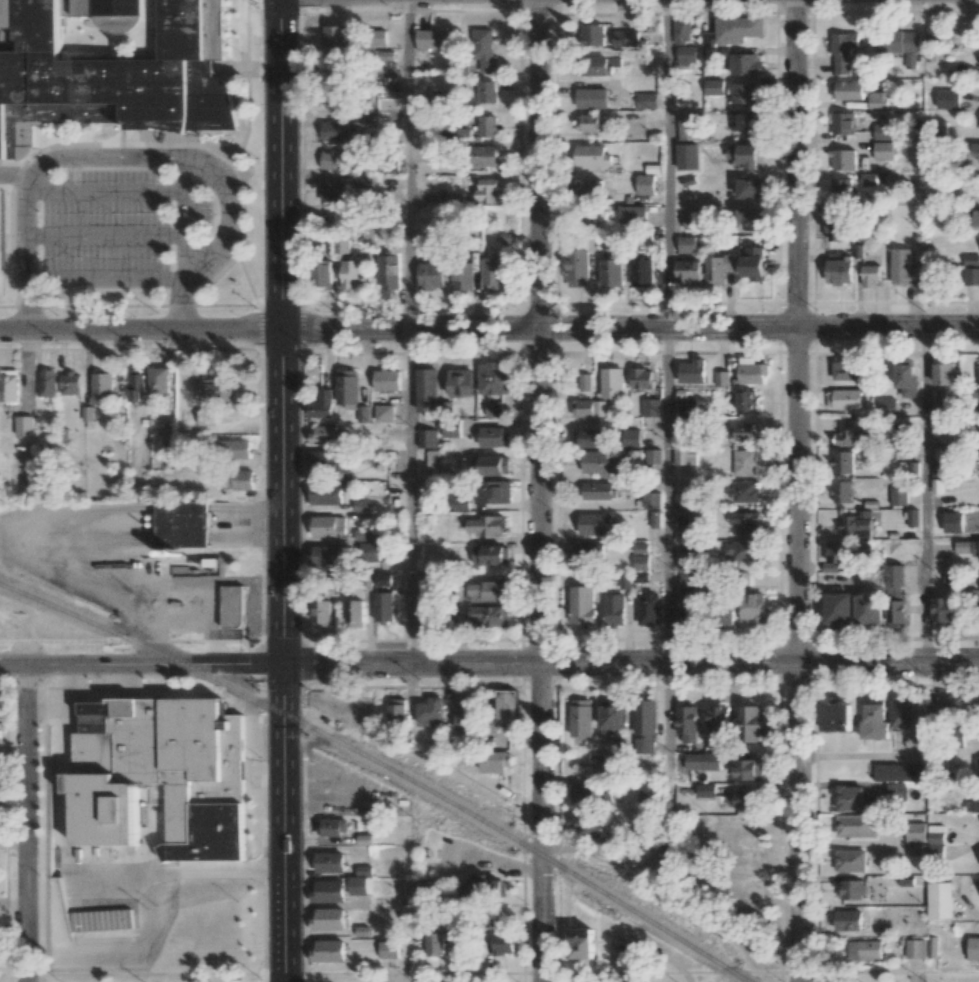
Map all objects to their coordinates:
building: (682, 30)
building: (734, 30)
building: (336, 35)
building: (592, 35)
building: (934, 36)
building: (378, 37)
building: (628, 39)
building: (434, 40)
building: (898, 45)
building: (484, 50)
building: (843, 51)
building: (387, 55)
building: (687, 57)
building: (745, 63)
building: (333, 64)
building: (600, 65)
building: (111, 74)
building: (713, 86)
building: (848, 89)
building: (488, 91)
building: (744, 93)
building: (440, 96)
building: (592, 98)
building: (877, 99)
building: (947, 99)
building: (646, 100)
building: (366, 116)
building: (591, 123)
building: (749, 123)
building: (842, 123)
building: (488, 126)
building: (688, 127)
building: (978, 127)
building: (936, 129)
building: (335, 130)
building: (882, 131)
building: (883, 150)
building: (975, 151)
building: (486, 155)
building: (593, 155)
building: (747, 155)
building: (688, 156)
road: (102, 159)
building: (842, 159)
building: (335, 160)
road: (279, 163)
road: (666, 163)
road: (796, 163)
road: (409, 164)
road: (538, 164)
building: (388, 166)
road: (16, 179)
building: (867, 179)
building: (362, 180)
building: (645, 184)
building: (592, 187)
building: (749, 188)
building: (841, 189)
building: (488, 190)
road: (106, 191)
building: (334, 191)
building: (455, 198)
building: (633, 214)
road: (229, 217)
building: (977, 218)
building: (750, 219)
building: (690, 221)
building: (835, 228)
parking lot: (108, 234)
road: (104, 235)
building: (508, 237)
road: (182, 243)
building: (687, 244)
building: (343, 245)
road: (26, 254)
building: (972, 259)
building: (753, 264)
building: (578, 267)
building: (719, 268)
building: (904, 268)
building: (389, 270)
building: (839, 270)
building: (688, 271)
building: (493, 272)
building: (612, 272)
building: (642, 272)
building: (324, 273)
building: (354, 274)
building: (870, 274)
building: (432, 275)
building: (464, 276)
building: (971, 276)
road: (104, 279)
road: (629, 327)
road: (140, 328)
building: (844, 370)
building: (692, 371)
building: (751, 371)
building: (943, 373)
building: (978, 374)
building: (494, 377)
building: (906, 377)
building: (642, 378)
building: (720, 378)
building: (159, 379)
building: (387, 379)
building: (47, 382)
building: (461, 382)
building: (584, 382)
building: (70, 383)
building: (612, 383)
building: (136, 384)
building: (9, 385)
building: (348, 386)
building: (102, 387)
building: (427, 390)
building: (844, 399)
building: (746, 400)
building: (323, 405)
building: (886, 406)
building: (588, 407)
building: (651, 407)
building: (688, 407)
building: (493, 408)
building: (88, 413)
building: (385, 413)
building: (207, 416)
building: (24, 425)
building: (452, 428)
building: (744, 431)
building: (850, 432)
building: (325, 434)
building: (493, 436)
building: (630, 437)
building: (427, 438)
building: (589, 438)
building: (232, 448)
building: (653, 456)
building: (684, 456)
building: (435, 460)
building: (331, 461)
building: (597, 461)
building: (842, 461)
building: (745, 462)
building: (491, 465)
building: (937, 468)
building: (237, 479)
building: (598, 490)
building: (493, 491)
building: (743, 491)
building: (842, 491)
building: (326, 493)
road: (925, 494)
road: (411, 495)
road: (668, 495)
building: (899, 496)
building: (652, 500)
building: (681, 501)
building: (461, 503)
building: (361, 504)
building: (912, 517)
building: (655, 519)
building: (746, 521)
building: (596, 523)
building: (183, 524)
building: (858, 524)
building: (485, 525)
building: (328, 526)
building: (683, 532)
building: (366, 534)
building: (967, 547)
building: (370, 551)
building: (742, 551)
building: (589, 553)
building: (324, 554)
building: (491, 554)
building: (836, 555)
building: (688, 559)
building: (641, 563)
building: (640, 576)
building: (950, 579)
building: (690, 580)
building: (624, 581)
building: (490, 591)
building: (897, 596)
building: (582, 604)
building: (232, 605)
building: (384, 606)
building: (649, 608)
building: (753, 608)
building: (840, 608)
building: (614, 609)
building: (870, 609)
building: (943, 610)
building: (322, 613)
building: (355, 613)
building: (429, 613)
building: (683, 614)
building: (490, 615)
building: (726, 616)
road: (282, 654)
road: (796, 654)
road: (539, 655)
road: (489, 662)
traffic signals: (283, 664)
road: (46, 700)
building: (507, 706)
building: (935, 710)
building: (431, 711)
building: (398, 712)
building: (901, 713)
building: (465, 715)
building: (836, 716)
building: (613, 717)
building: (582, 718)
building: (874, 718)
building: (719, 719)
building: (687, 723)
building: (752, 724)
building: (645, 726)
building: (497, 761)
building: (702, 761)
building: (977, 764)
railway: (383, 766)
building: (748, 768)
building: (898, 772)
building: (159, 774)
building: (706, 790)
building: (896, 791)
building: (586, 792)
building: (647, 792)
building: (850, 798)
building: (745, 799)
building: (971, 806)
road: (666, 817)
road: (26, 823)
building: (586, 823)
building: (855, 825)
building: (332, 826)
building: (915, 832)
building: (935, 833)
building: (364, 839)
building: (851, 860)
building: (330, 861)
road: (73, 865)
building: (364, 870)
building: (358, 885)
building: (483, 885)
building: (854, 889)
building: (328, 891)
building: (940, 900)
building: (328, 919)
building: (851, 919)
building: (362, 930)
building: (435, 943)
building: (581, 943)
building: (464, 944)
building: (932, 946)
building: (915, 948)
building: (974, 948)
building: (389, 949)
building: (329, 950)
building: (865, 950)

